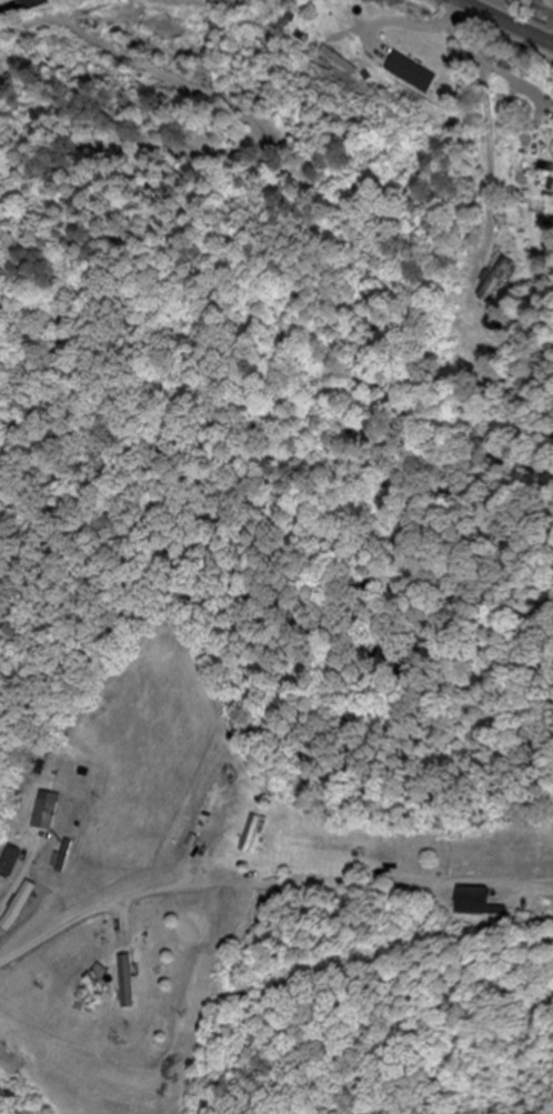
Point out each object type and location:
building: (238, 0)
road: (16, 6)
road: (505, 22)
building: (340, 61)
building: (401, 69)
building: (46, 811)
building: (252, 835)
building: (63, 856)
building: (8, 862)
road: (151, 880)
building: (470, 901)
building: (18, 907)
building: (128, 982)

